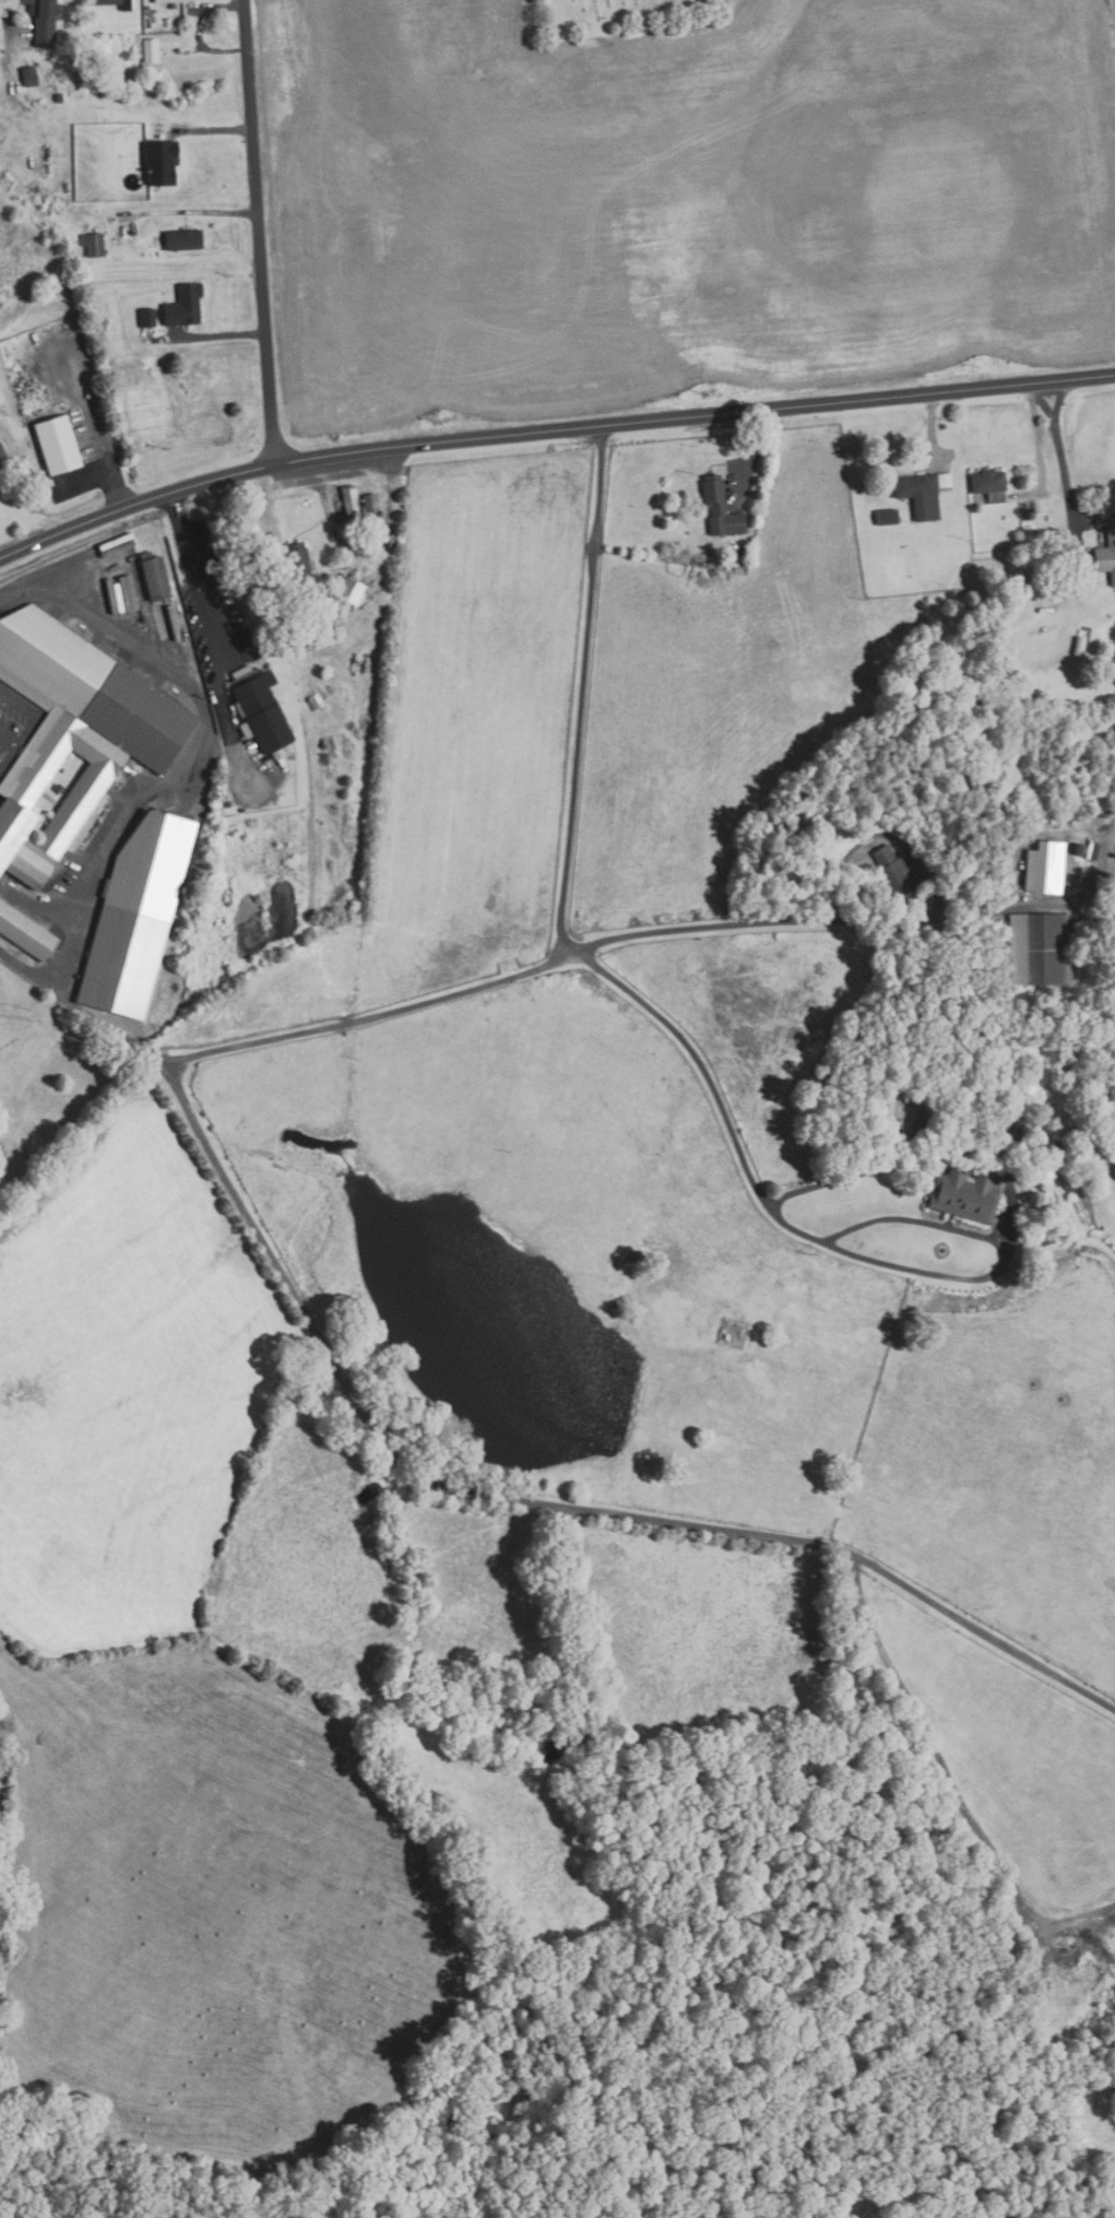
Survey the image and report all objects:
building: (169, 1)
building: (115, 3)
building: (79, 7)
park: (620, 15)
building: (43, 21)
road: (8, 38)
building: (151, 51)
building: (29, 78)
building: (60, 98)
building: (161, 164)
crop: (679, 200)
road: (199, 213)
road: (260, 233)
building: (185, 239)
building: (94, 246)
building: (185, 305)
building: (147, 318)
road: (549, 433)
building: (58, 444)
building: (2, 455)
road: (108, 460)
road: (1061, 465)
building: (991, 484)
building: (924, 492)
building: (347, 502)
building: (370, 503)
building: (720, 508)
building: (1031, 515)
building: (888, 517)
building: (392, 541)
building: (1107, 553)
building: (298, 563)
building: (699, 569)
building: (154, 576)
building: (1089, 578)
road: (197, 580)
building: (352, 591)
building: (328, 632)
building: (295, 642)
building: (1080, 646)
road: (582, 694)
building: (260, 710)
building: (73, 733)
building: (102, 819)
building: (1093, 850)
building: (1045, 868)
building: (895, 872)
building: (982, 878)
building: (0, 880)
road: (966, 907)
building: (135, 917)
road: (693, 929)
building: (25, 933)
building: (1042, 949)
road: (372, 1017)
building: (923, 1119)
building: (1022, 1152)
road: (945, 1154)
building: (966, 1193)
building: (1046, 1196)
road: (915, 1222)
road: (788, 1226)
road: (489, 1494)
river: (517, 2100)

